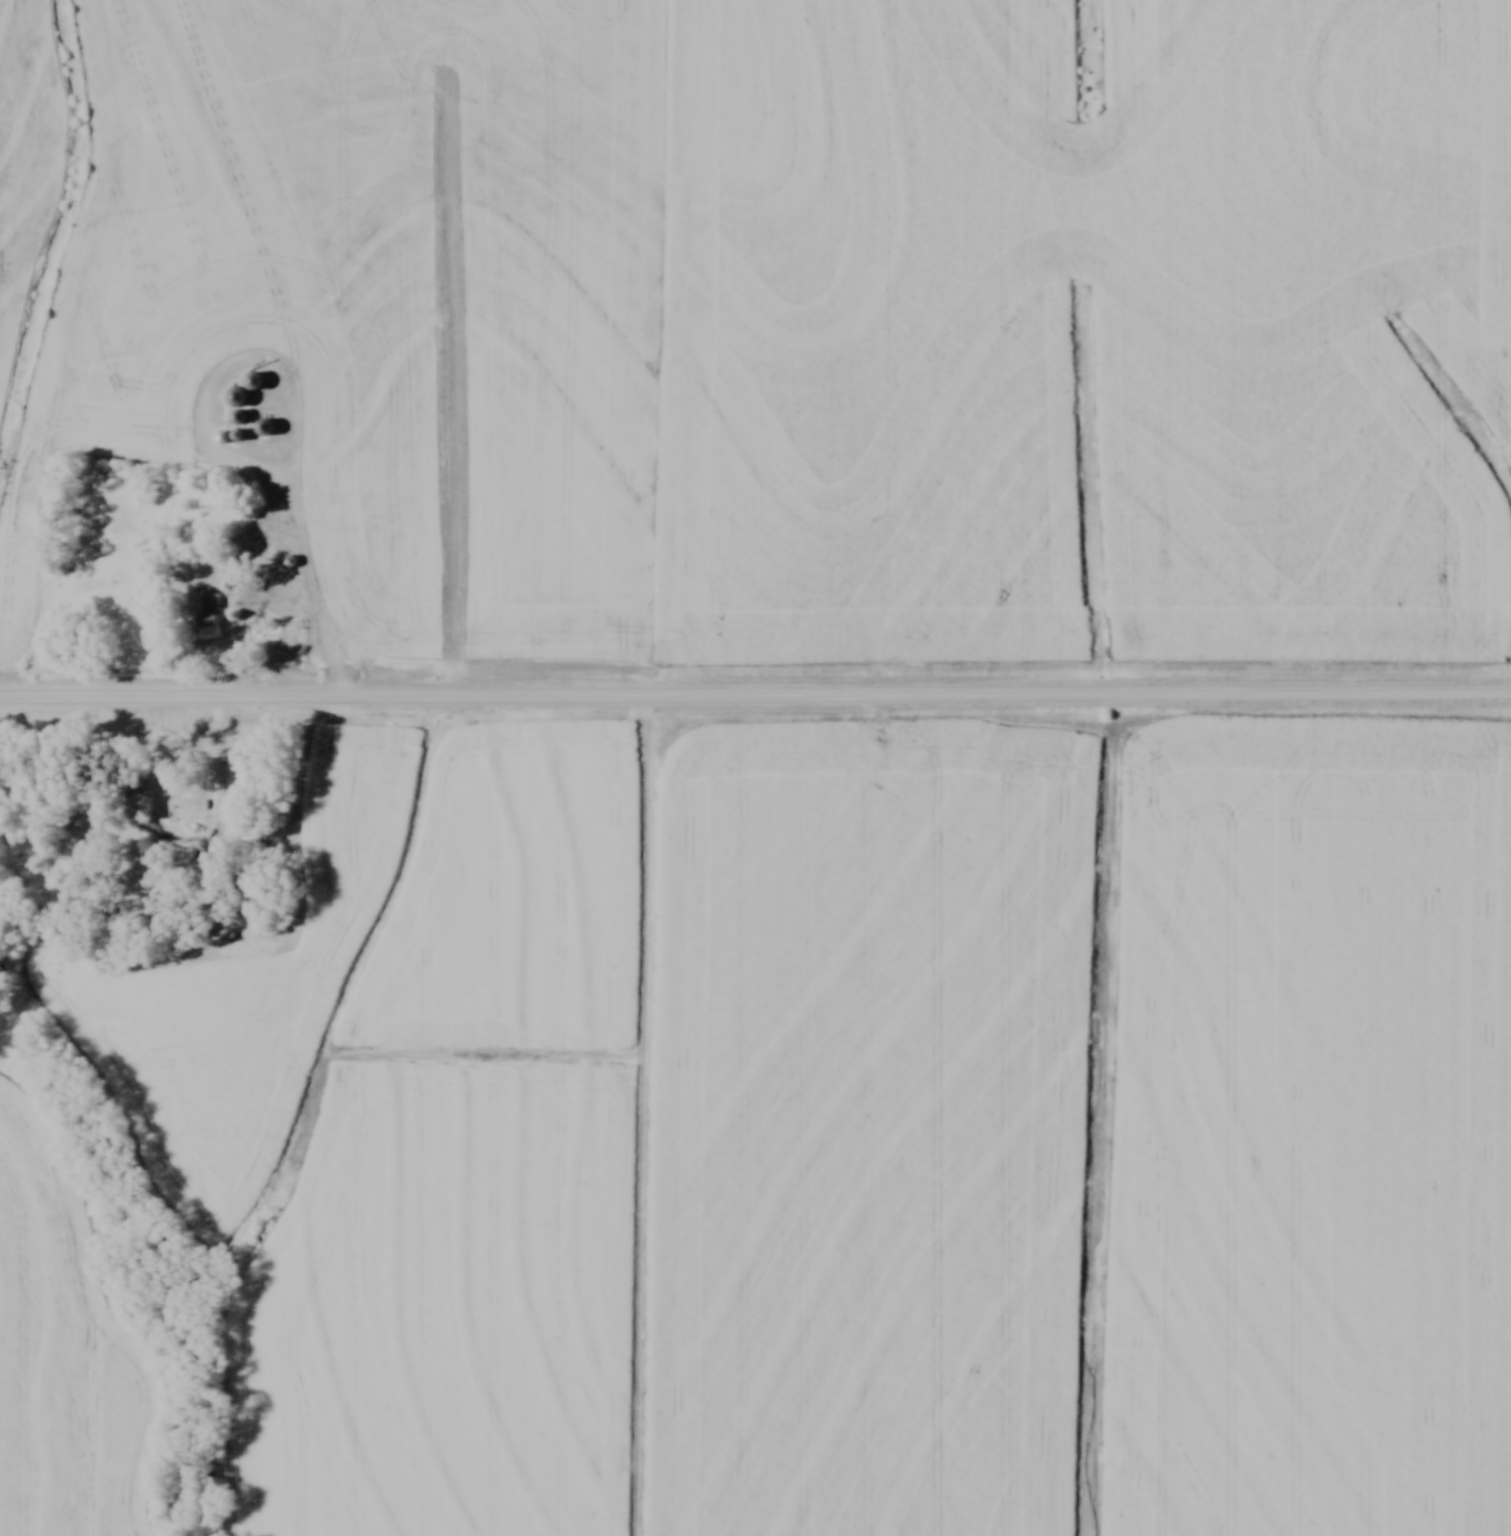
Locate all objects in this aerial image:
building: (248, 381)
building: (230, 396)
building: (259, 427)
building: (206, 498)
building: (205, 609)
road: (755, 700)
road: (224, 805)
building: (133, 810)

